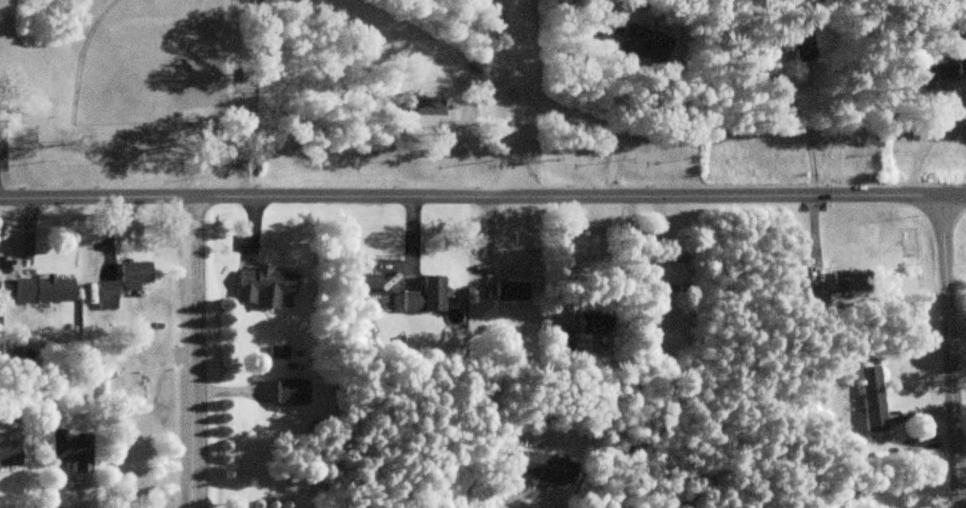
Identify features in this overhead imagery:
building: (655, 45)
building: (800, 48)
building: (950, 62)
road: (514, 96)
road: (483, 193)
building: (672, 272)
building: (134, 273)
building: (367, 277)
building: (264, 285)
building: (843, 285)
building: (42, 288)
building: (510, 290)
building: (426, 294)
road: (195, 347)
road: (949, 350)
building: (873, 398)
building: (71, 448)
building: (9, 452)
building: (546, 468)
road: (266, 503)

